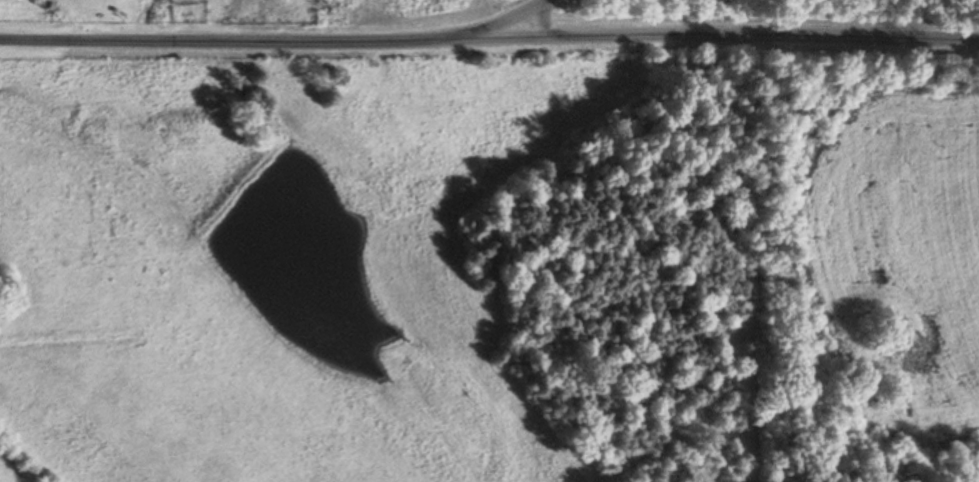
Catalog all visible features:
road: (532, 3)
road: (514, 13)
road: (489, 34)

